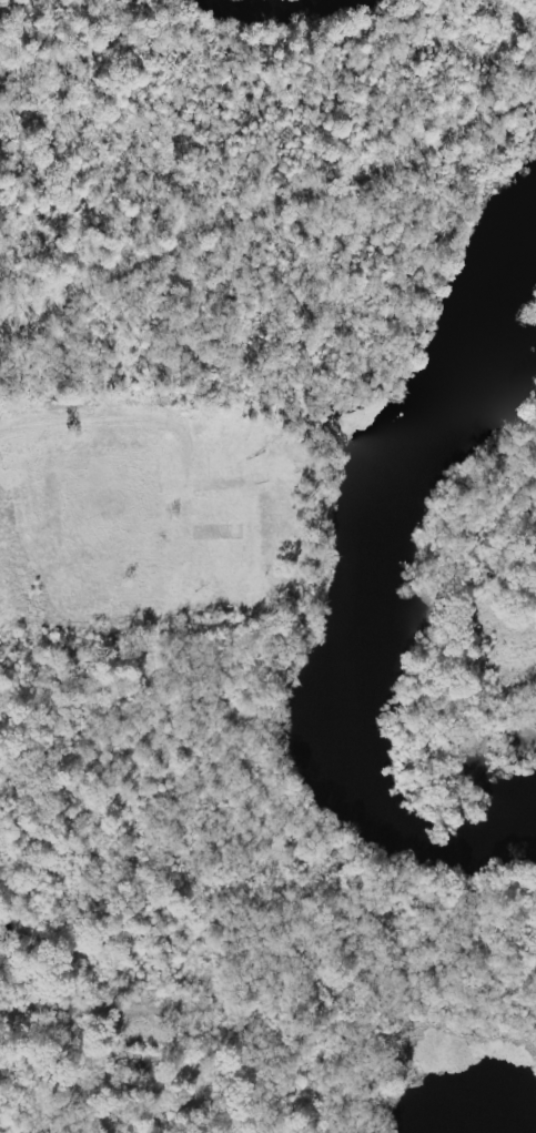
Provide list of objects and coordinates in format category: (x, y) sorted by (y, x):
road: (70, 421)
river: (352, 588)
road: (532, 665)
road: (70, 1008)
river: (486, 1123)

